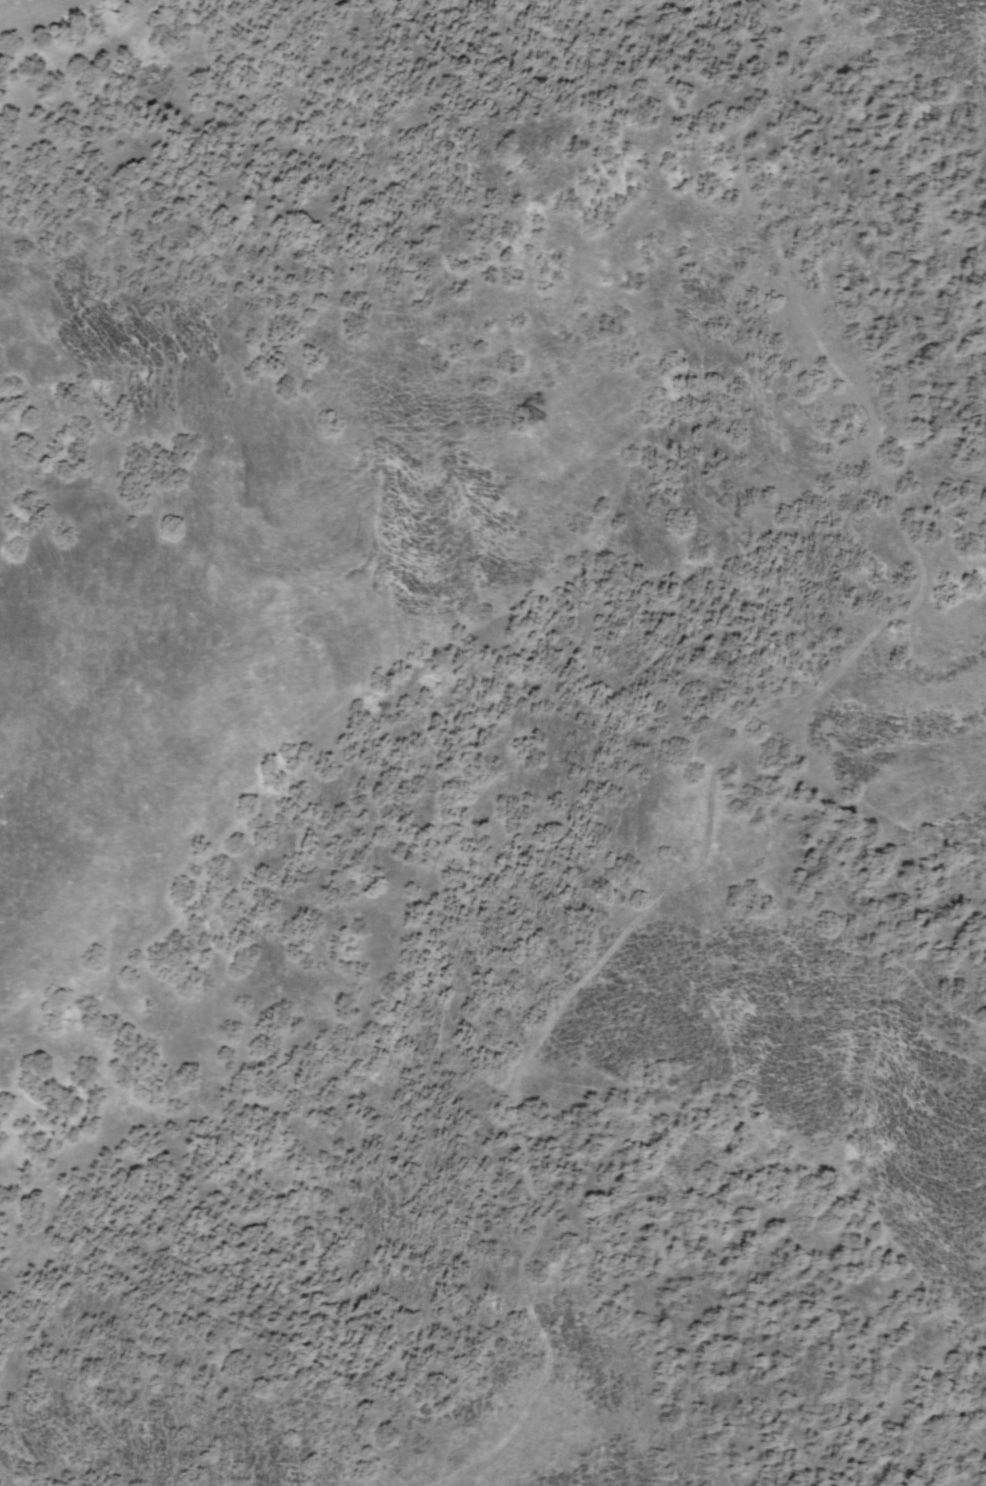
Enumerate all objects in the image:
road: (739, 734)

